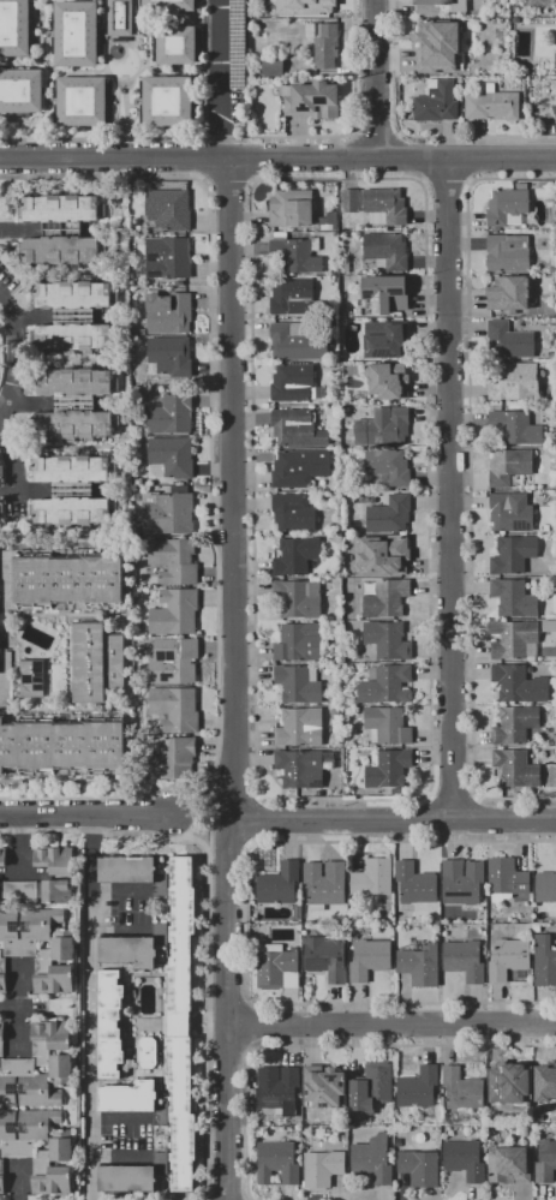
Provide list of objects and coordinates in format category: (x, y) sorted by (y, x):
building: (169, 6)
building: (440, 6)
building: (316, 7)
building: (120, 18)
building: (14, 28)
building: (76, 35)
building: (323, 44)
building: (177, 46)
building: (424, 47)
building: (555, 60)
building: (270, 65)
road: (217, 78)
road: (373, 78)
building: (20, 91)
building: (167, 101)
building: (311, 101)
building: (82, 102)
building: (436, 102)
building: (492, 105)
building: (554, 109)
road: (411, 136)
road: (375, 137)
road: (241, 138)
road: (277, 159)
road: (228, 177)
road: (446, 177)
building: (349, 201)
building: (385, 207)
building: (508, 207)
building: (60, 208)
building: (291, 208)
building: (169, 209)
building: (328, 221)
building: (61, 229)
building: (61, 251)
building: (387, 251)
building: (297, 253)
building: (507, 253)
building: (166, 258)
building: (508, 293)
building: (73, 294)
building: (382, 295)
building: (292, 297)
building: (169, 312)
building: (73, 316)
building: (72, 338)
building: (508, 341)
building: (297, 342)
building: (388, 342)
building: (169, 357)
building: (74, 382)
building: (388, 382)
building: (514, 382)
road: (210, 383)
building: (294, 383)
road: (7, 399)
building: (74, 404)
building: (169, 414)
road: (1, 423)
building: (76, 425)
building: (389, 428)
building: (516, 428)
building: (297, 429)
building: (346, 442)
building: (172, 456)
building: (388, 467)
building: (509, 467)
building: (71, 468)
building: (299, 468)
building: (0, 472)
road: (470, 485)
road: (449, 489)
building: (71, 490)
building: (1, 509)
building: (72, 512)
building: (167, 512)
building: (510, 512)
building: (293, 513)
building: (389, 515)
building: (336, 532)
building: (339, 539)
building: (387, 555)
building: (513, 555)
building: (295, 556)
building: (174, 561)
building: (68, 579)
building: (384, 597)
building: (298, 598)
building: (513, 598)
building: (174, 613)
building: (549, 626)
building: (388, 640)
building: (514, 640)
building: (299, 643)
building: (173, 661)
building: (97, 662)
building: (32, 679)
road: (234, 679)
building: (299, 685)
building: (385, 685)
building: (519, 685)
building: (175, 710)
building: (335, 715)
building: (515, 724)
building: (387, 726)
building: (299, 728)
building: (64, 746)
building: (172, 759)
building: (303, 769)
building: (387, 769)
building: (515, 769)
building: (397, 792)
road: (428, 794)
road: (202, 795)
road: (453, 795)
road: (98, 798)
road: (233, 798)
road: (86, 814)
road: (393, 819)
road: (430, 819)
road: (473, 819)
road: (253, 822)
road: (209, 823)
road: (92, 831)
road: (187, 832)
road: (228, 844)
road: (18, 846)
road: (88, 853)
building: (2, 858)
building: (54, 859)
building: (126, 870)
building: (372, 878)
building: (506, 879)
building: (461, 882)
building: (279, 884)
building: (324, 884)
building: (415, 884)
building: (545, 888)
building: (40, 891)
road: (114, 892)
road: (88, 911)
building: (297, 914)
road: (247, 923)
road: (114, 929)
building: (26, 930)
building: (160, 935)
building: (181, 948)
building: (128, 951)
building: (327, 959)
building: (508, 959)
building: (370, 960)
building: (464, 960)
building: (544, 961)
building: (274, 965)
building: (419, 965)
building: (55, 966)
building: (2, 975)
road: (19, 1016)
building: (110, 1025)
road: (391, 1025)
road: (257, 1026)
road: (209, 1027)
building: (1, 1040)
road: (327, 1047)
building: (53, 1050)
building: (147, 1053)
road: (88, 1064)
building: (507, 1081)
building: (25, 1085)
building: (323, 1087)
building: (371, 1088)
building: (418, 1088)
building: (277, 1089)
building: (460, 1091)
building: (545, 1091)
building: (128, 1098)
building: (181, 1114)
building: (537, 1116)
road: (114, 1118)
building: (520, 1130)
building: (25, 1132)
building: (258, 1134)
road: (116, 1157)
building: (373, 1159)
building: (465, 1160)
building: (545, 1162)
building: (277, 1163)
building: (54, 1166)
building: (508, 1166)
building: (419, 1168)
building: (322, 1169)
building: (1, 1177)
building: (127, 1178)
building: (524, 1181)
road: (19, 1183)

